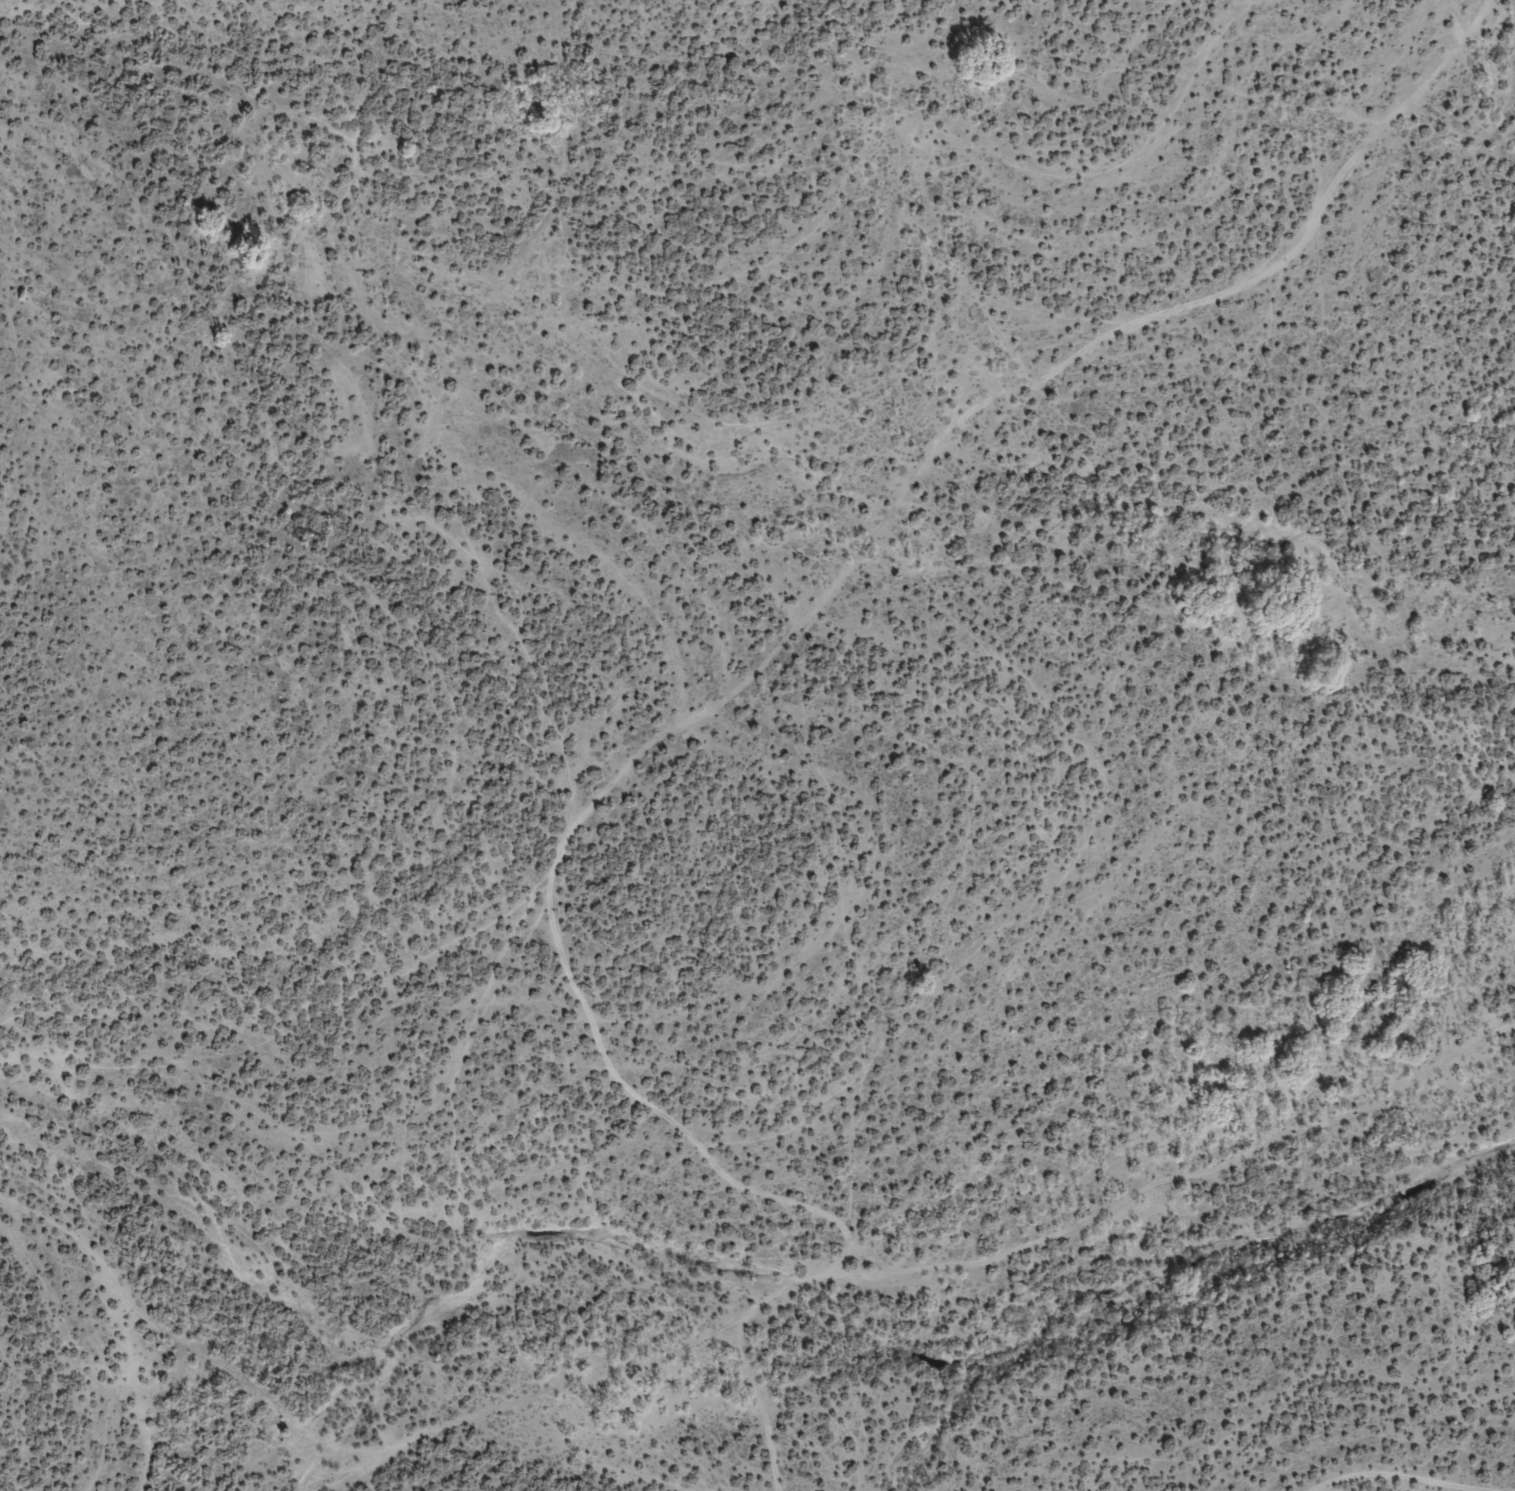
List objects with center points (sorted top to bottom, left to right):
road: (1066, 1215)

